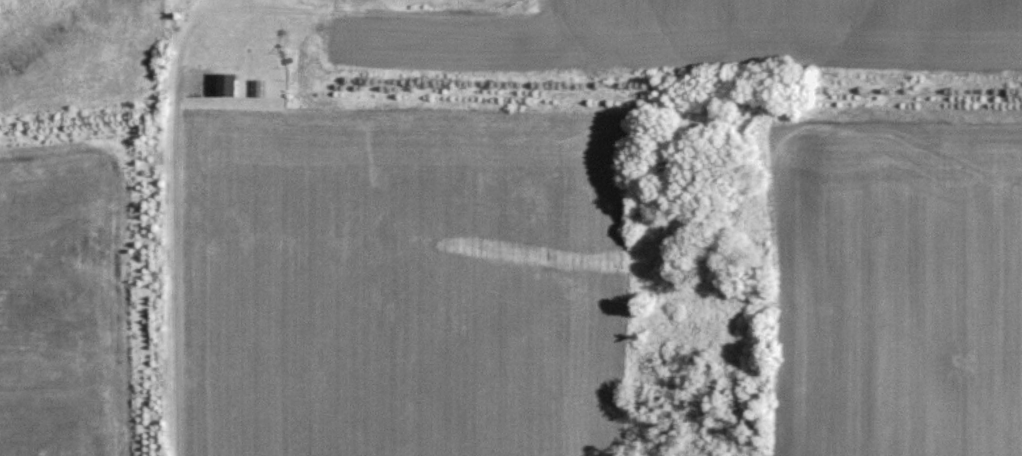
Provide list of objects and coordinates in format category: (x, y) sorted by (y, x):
crop: (784, 27)
road: (176, 223)
crop: (401, 286)
crop: (898, 290)

